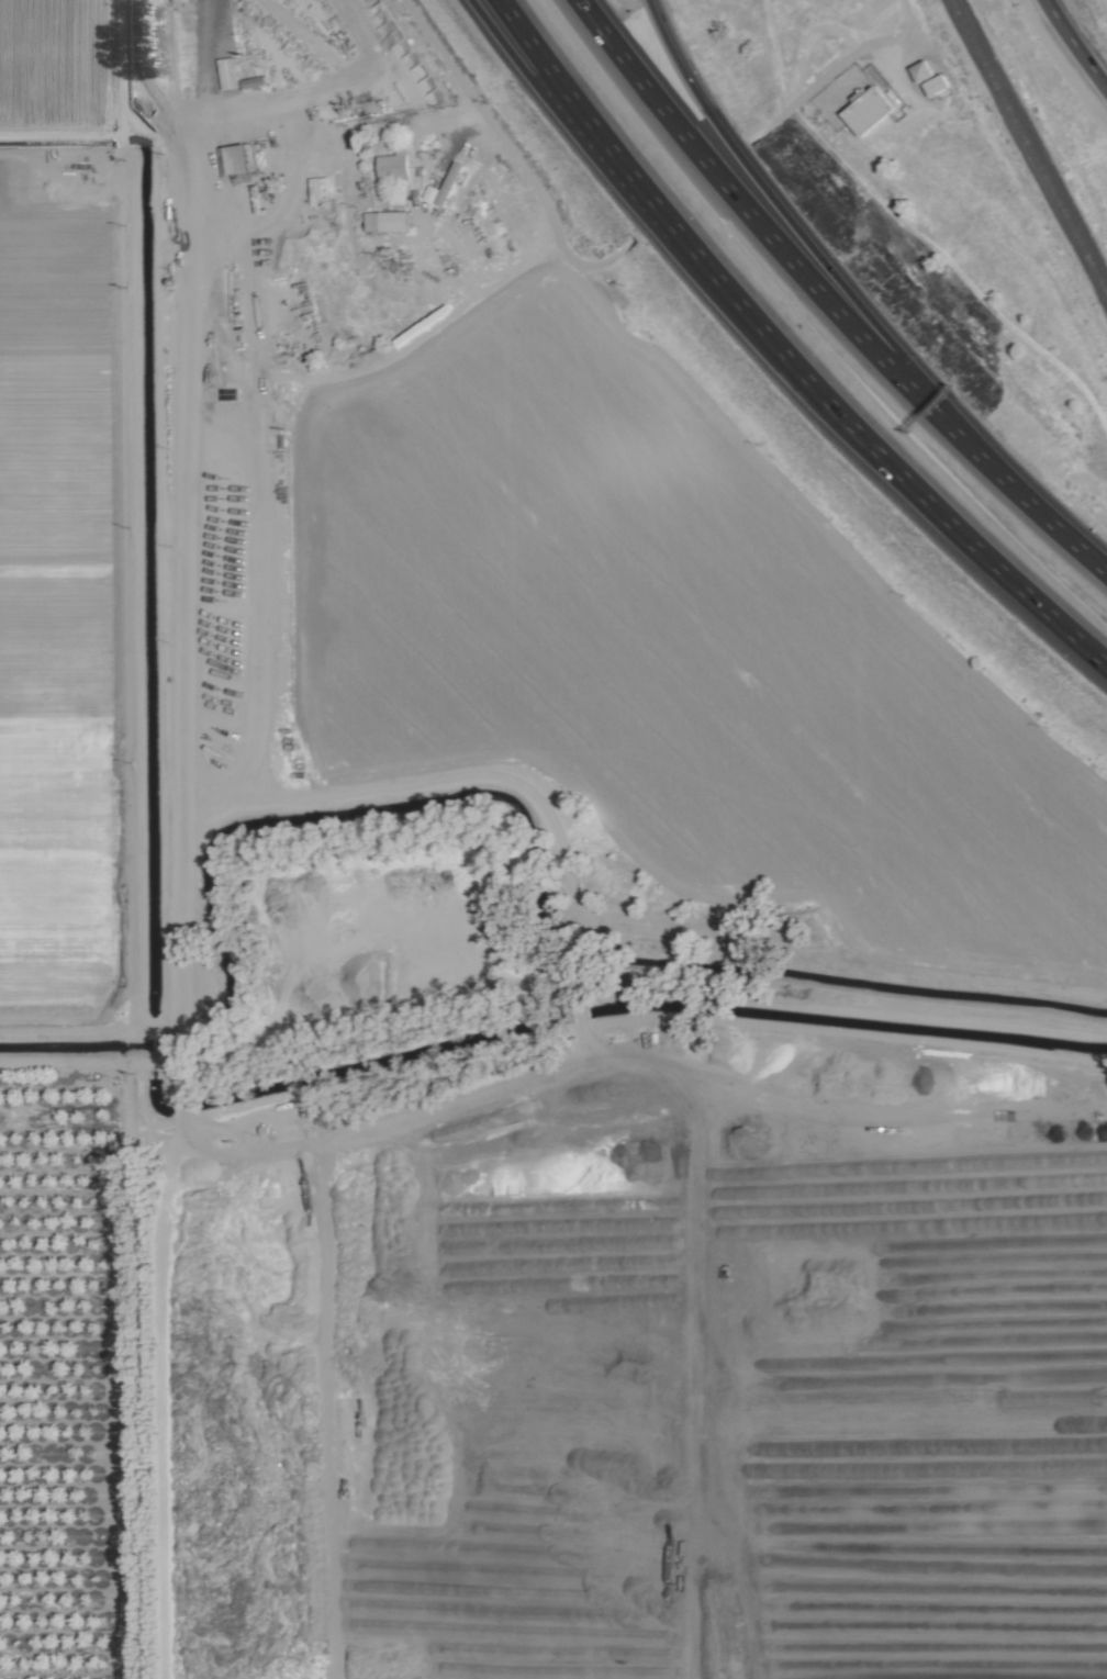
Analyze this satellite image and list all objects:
road: (1074, 45)
road: (837, 66)
building: (921, 70)
building: (227, 72)
building: (936, 85)
building: (865, 110)
railway: (1028, 147)
road: (512, 157)
building: (236, 159)
building: (392, 165)
road: (714, 166)
road: (743, 168)
building: (441, 186)
building: (385, 222)
road: (770, 357)
road: (979, 450)

